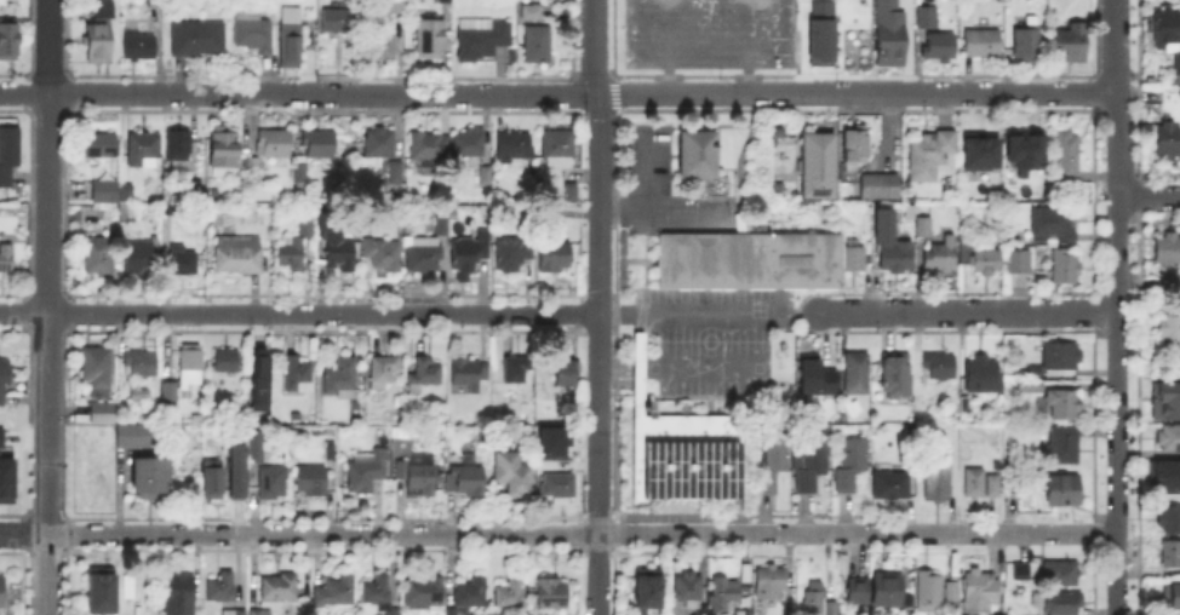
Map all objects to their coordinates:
building: (446, 1)
building: (154, 4)
building: (395, 10)
building: (528, 10)
building: (533, 15)
building: (930, 21)
building: (339, 22)
building: (889, 31)
building: (256, 33)
building: (103, 35)
building: (294, 38)
building: (1168, 38)
building: (434, 39)
building: (199, 40)
building: (10, 41)
building: (483, 41)
building: (817, 42)
building: (1030, 42)
building: (539, 46)
road: (594, 46)
building: (985, 46)
building: (1073, 47)
building: (141, 50)
building: (384, 50)
building: (941, 50)
road: (706, 56)
road: (666, 79)
road: (746, 79)
road: (559, 92)
building: (557, 143)
building: (1165, 144)
building: (322, 148)
building: (1026, 148)
building: (380, 149)
building: (101, 150)
building: (145, 150)
building: (430, 150)
building: (516, 150)
building: (859, 150)
building: (981, 153)
building: (277, 154)
building: (179, 155)
building: (225, 155)
building: (476, 156)
building: (10, 157)
building: (935, 159)
building: (1070, 162)
building: (705, 168)
building: (821, 168)
building: (397, 177)
building: (304, 180)
building: (883, 186)
building: (201, 190)
building: (108, 194)
building: (128, 194)
road: (1149, 195)
road: (722, 206)
building: (107, 213)
building: (130, 213)
building: (217, 219)
building: (445, 222)
building: (303, 225)
building: (1056, 228)
building: (182, 229)
building: (926, 229)
building: (297, 249)
building: (338, 249)
building: (960, 252)
building: (472, 253)
building: (1167, 253)
building: (241, 255)
building: (515, 255)
building: (384, 257)
building: (424, 257)
building: (141, 258)
building: (898, 258)
building: (101, 259)
building: (557, 259)
building: (944, 259)
building: (6, 260)
building: (755, 261)
building: (983, 261)
building: (184, 263)
building: (1067, 270)
building: (1023, 271)
building: (1172, 283)
road: (46, 307)
road: (1117, 307)
road: (299, 311)
road: (693, 311)
road: (967, 311)
road: (802, 312)
building: (1169, 333)
road: (598, 352)
building: (1064, 362)
building: (229, 363)
building: (143, 364)
building: (941, 367)
building: (515, 370)
building: (384, 372)
building: (567, 372)
building: (97, 374)
building: (187, 375)
building: (298, 377)
building: (469, 377)
building: (859, 377)
building: (5, 378)
building: (256, 378)
building: (425, 378)
building: (817, 378)
building: (984, 378)
building: (900, 379)
building: (343, 380)
building: (1032, 389)
building: (142, 396)
building: (1167, 400)
building: (1066, 407)
building: (104, 415)
building: (297, 418)
building: (2, 436)
building: (409, 437)
building: (1170, 437)
building: (136, 439)
building: (549, 439)
building: (907, 439)
building: (1066, 443)
building: (252, 444)
building: (332, 452)
building: (680, 452)
building: (812, 458)
building: (777, 465)
building: (854, 469)
building: (234, 470)
building: (371, 471)
building: (419, 476)
building: (515, 476)
building: (1169, 476)
building: (208, 477)
building: (308, 477)
building: (7, 478)
building: (269, 479)
building: (941, 481)
building: (469, 482)
building: (990, 483)
building: (976, 485)
building: (996, 485)
building: (1009, 485)
building: (154, 487)
building: (557, 488)
building: (893, 489)
building: (1067, 495)
building: (1172, 522)
road: (991, 531)
road: (298, 533)
road: (652, 533)
road: (785, 533)
building: (1170, 559)
building: (1023, 573)
building: (1062, 576)
building: (773, 586)
building: (883, 587)
building: (854, 588)
building: (222, 590)
building: (280, 590)
building: (689, 591)
building: (2, 593)
building: (98, 593)
building: (337, 593)
building: (653, 593)
building: (933, 593)
building: (953, 593)
building: (983, 593)
building: (726, 594)
building: (182, 596)
building: (379, 596)
building: (424, 596)
building: (472, 596)
building: (512, 597)
building: (555, 597)
building: (905, 598)
building: (1172, 598)
building: (815, 600)
building: (1065, 605)
building: (832, 610)
building: (452, 611)
building: (234, 614)
building: (262, 614)

